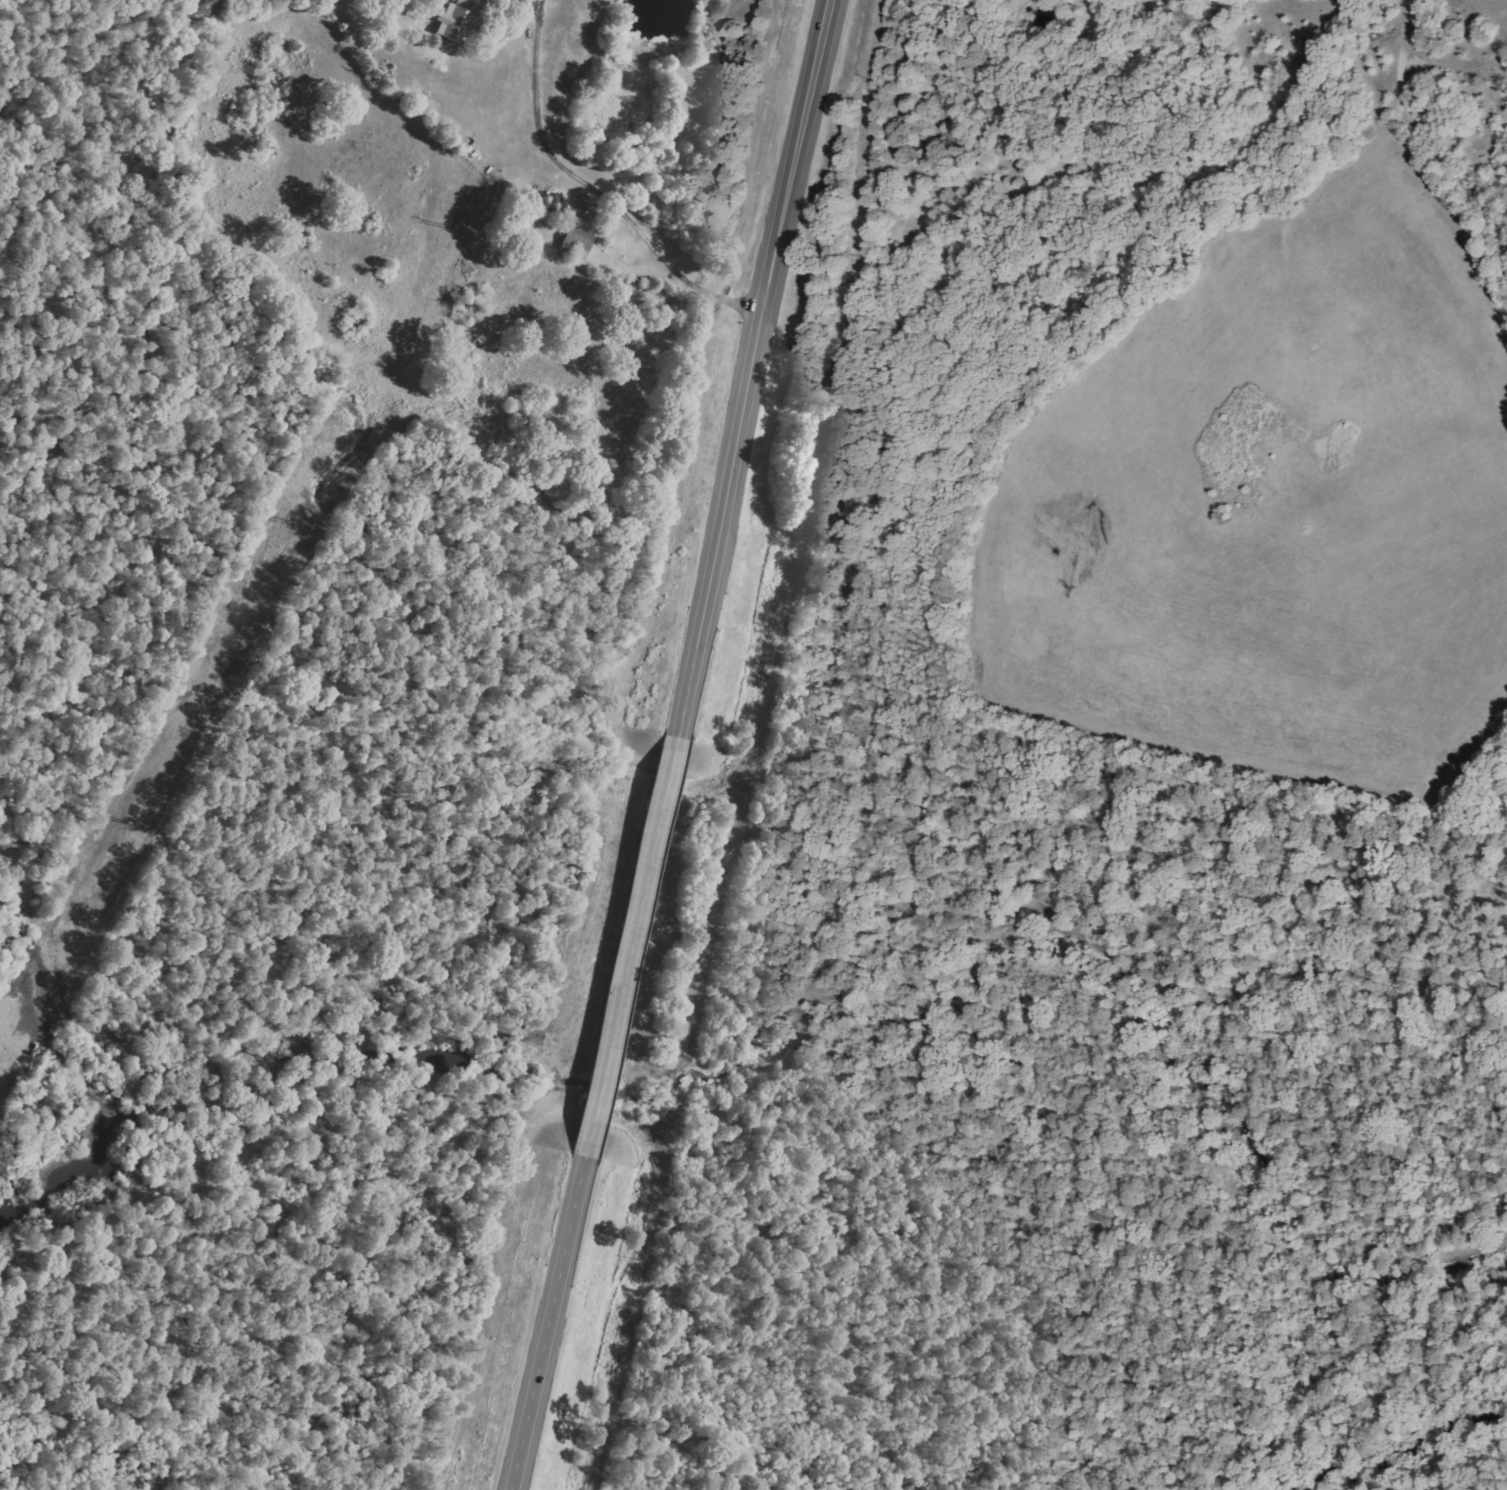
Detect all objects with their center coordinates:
building: (454, 22)
power tower: (454, 228)
building: (577, 243)
road: (679, 274)
road: (757, 368)
power tower: (294, 522)
power tower: (132, 823)
road: (631, 947)
road: (549, 1323)

